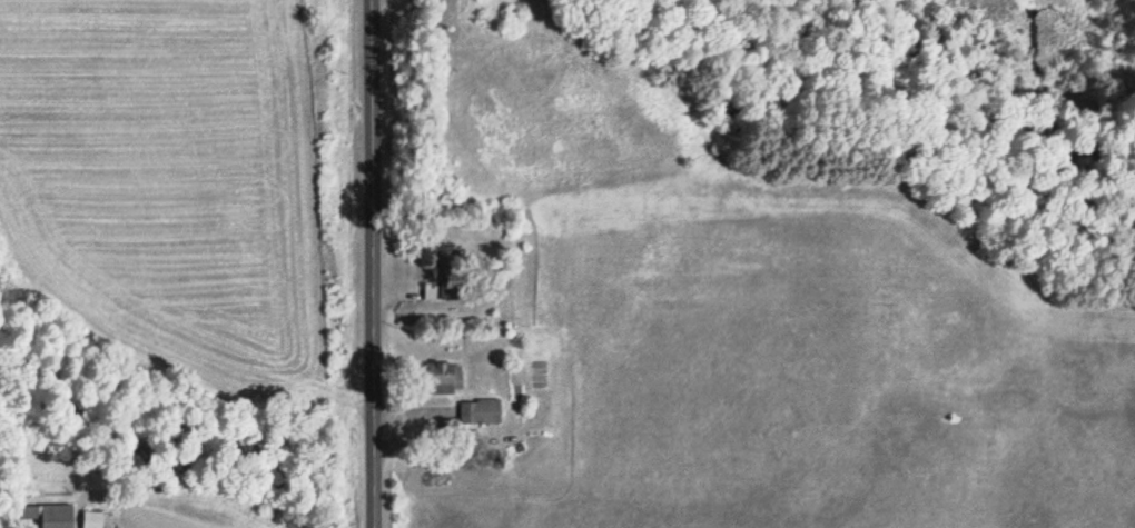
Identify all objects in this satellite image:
road: (367, 263)
building: (446, 277)
building: (445, 378)
building: (481, 411)
building: (49, 515)
building: (93, 519)

